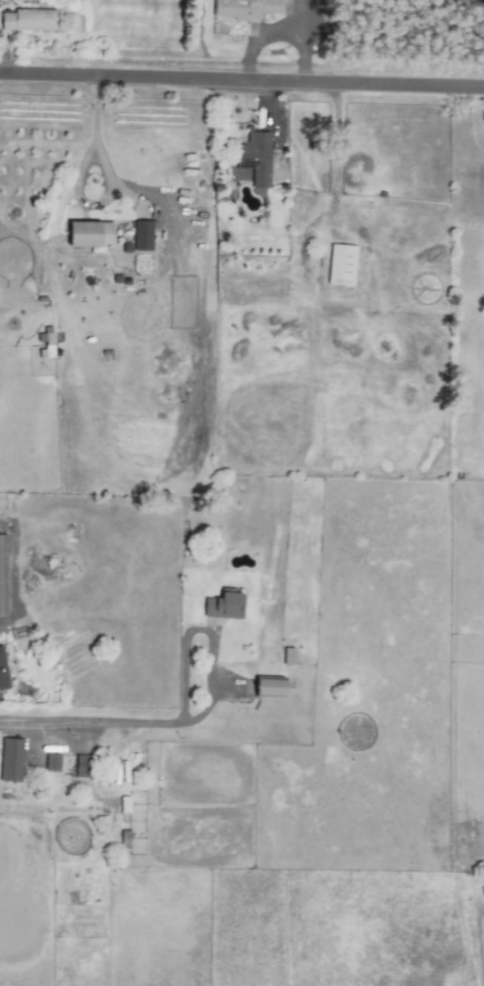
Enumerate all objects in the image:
building: (244, 8)
building: (29, 19)
road: (301, 21)
road: (277, 31)
road: (241, 79)
road: (93, 133)
building: (254, 157)
building: (89, 233)
building: (141, 234)
road: (293, 257)
building: (340, 264)
building: (2, 576)
building: (224, 604)
road: (79, 622)
road: (204, 629)
building: (2, 671)
building: (268, 687)
road: (91, 721)
building: (10, 759)
building: (51, 761)
building: (82, 765)

